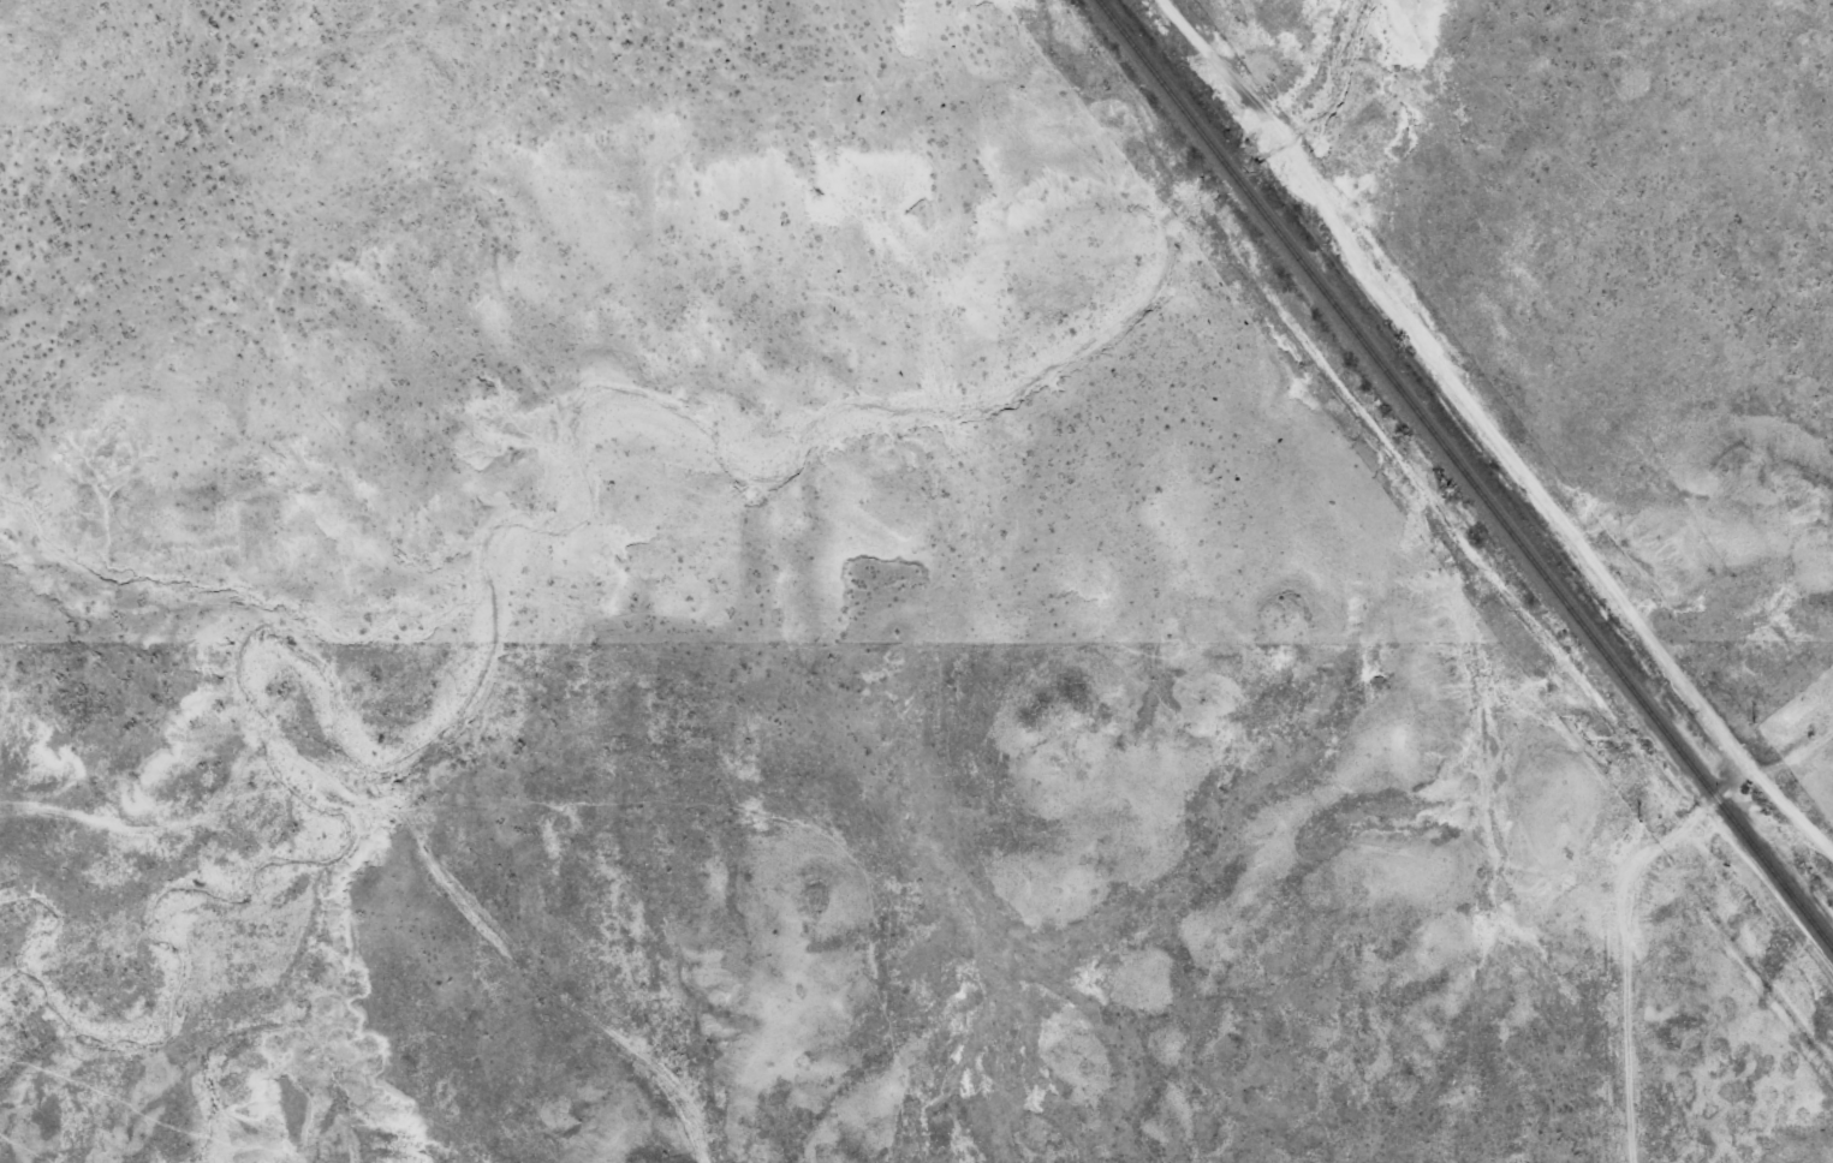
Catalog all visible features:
railway: (1464, 478)
road: (358, 831)
road: (1655, 878)

